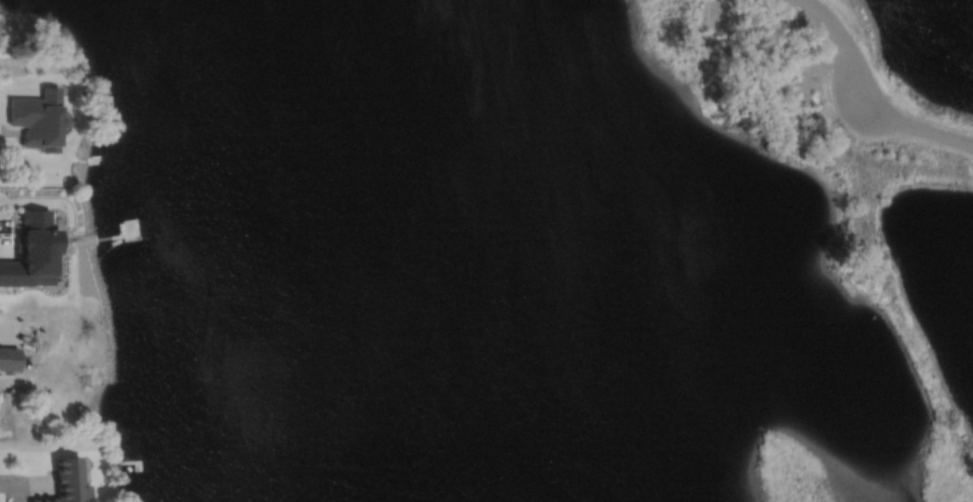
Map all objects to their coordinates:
road: (845, 55)
building: (39, 118)
building: (29, 252)
building: (8, 359)
pier: (131, 464)
building: (66, 483)

